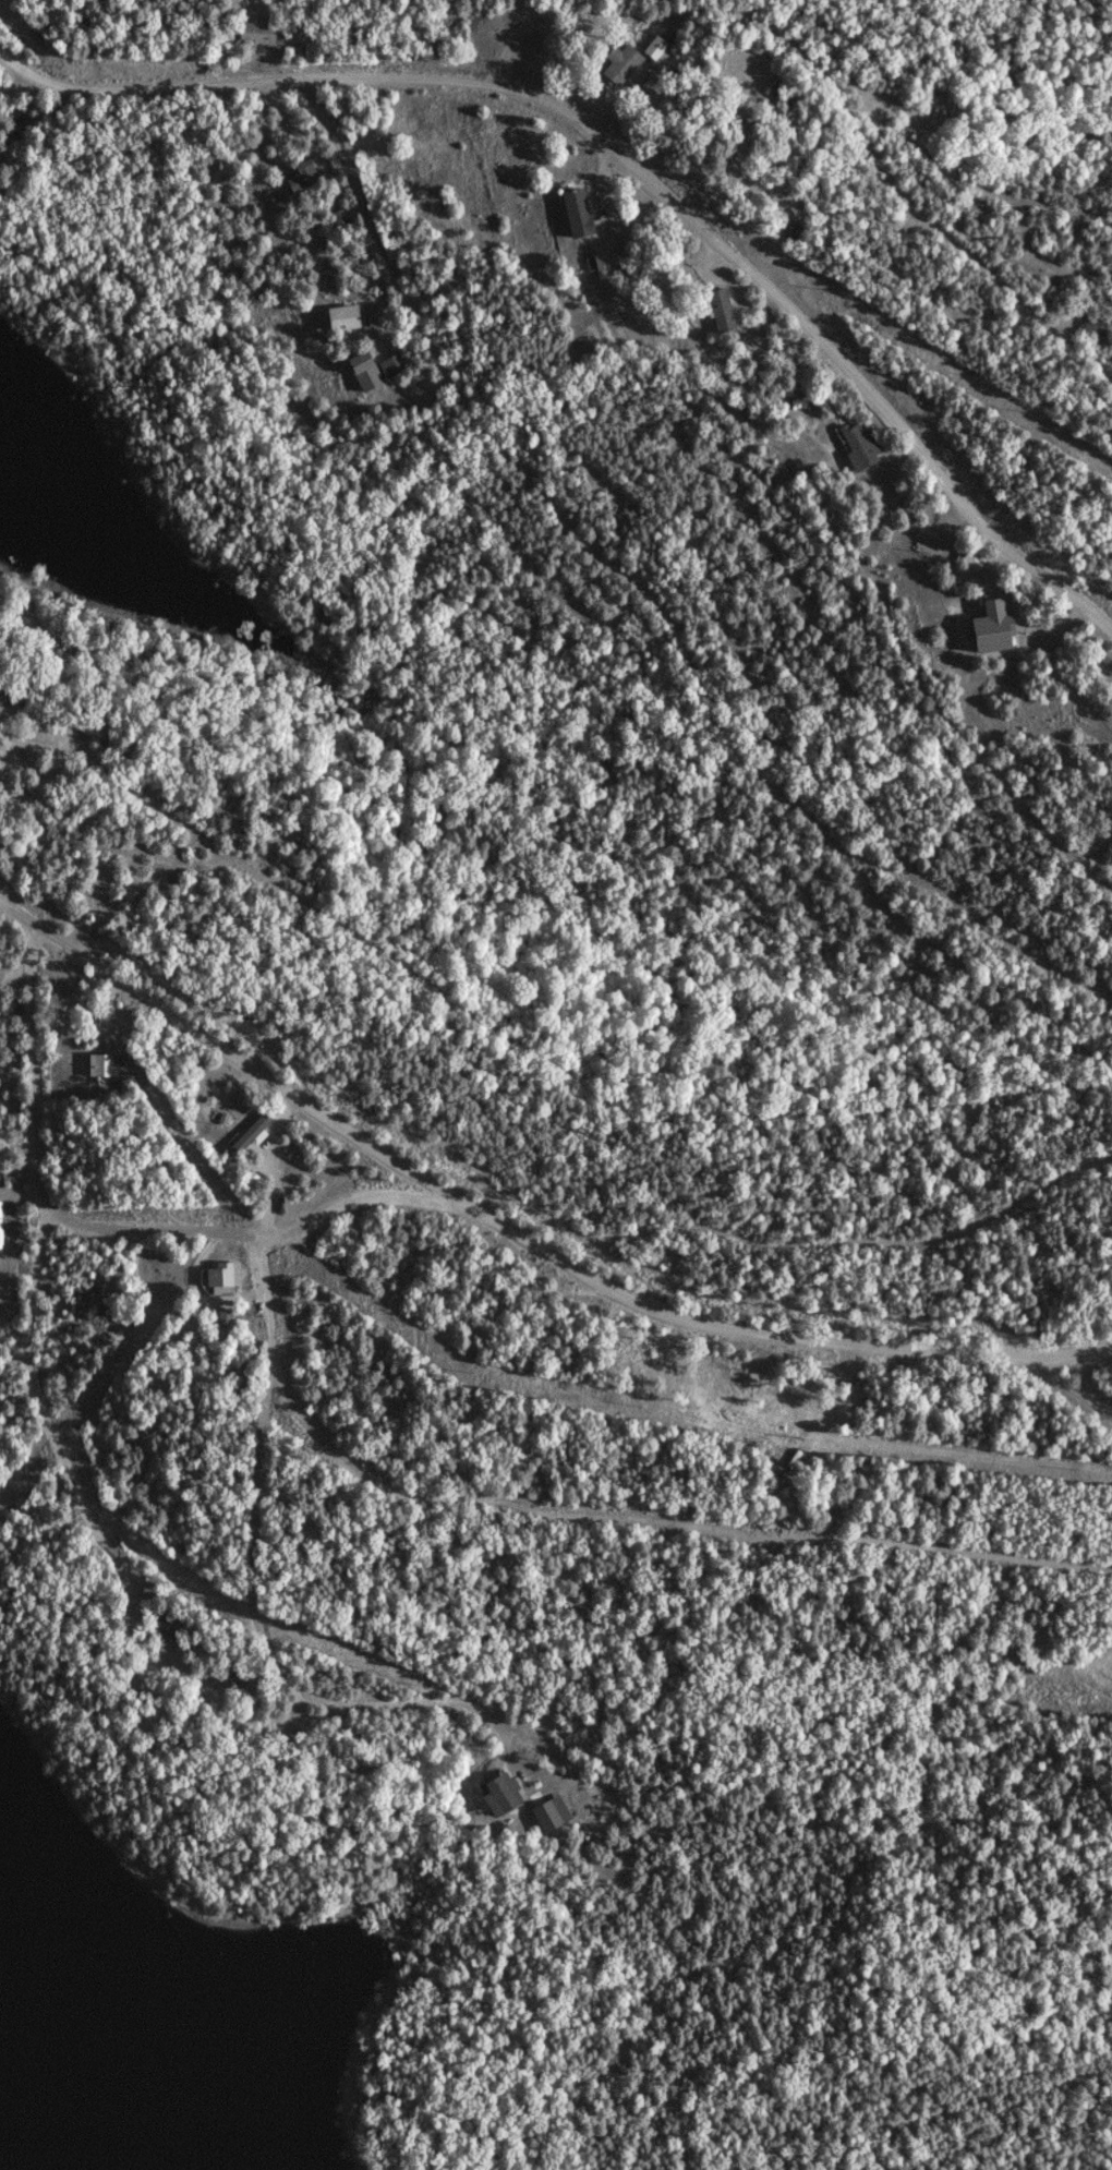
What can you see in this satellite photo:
building: (262, 33)
building: (655, 45)
building: (623, 61)
road: (21, 86)
road: (631, 169)
building: (302, 173)
building: (579, 210)
building: (602, 260)
building: (722, 309)
building: (347, 315)
building: (390, 364)
building: (366, 370)
road: (648, 600)
building: (995, 625)
road: (46, 718)
road: (27, 742)
building: (95, 1064)
building: (252, 1177)
road: (239, 1232)
road: (527, 1240)
building: (226, 1275)
road: (1066, 1353)
road: (65, 1463)
road: (188, 1660)
building: (505, 1793)
building: (553, 1812)

